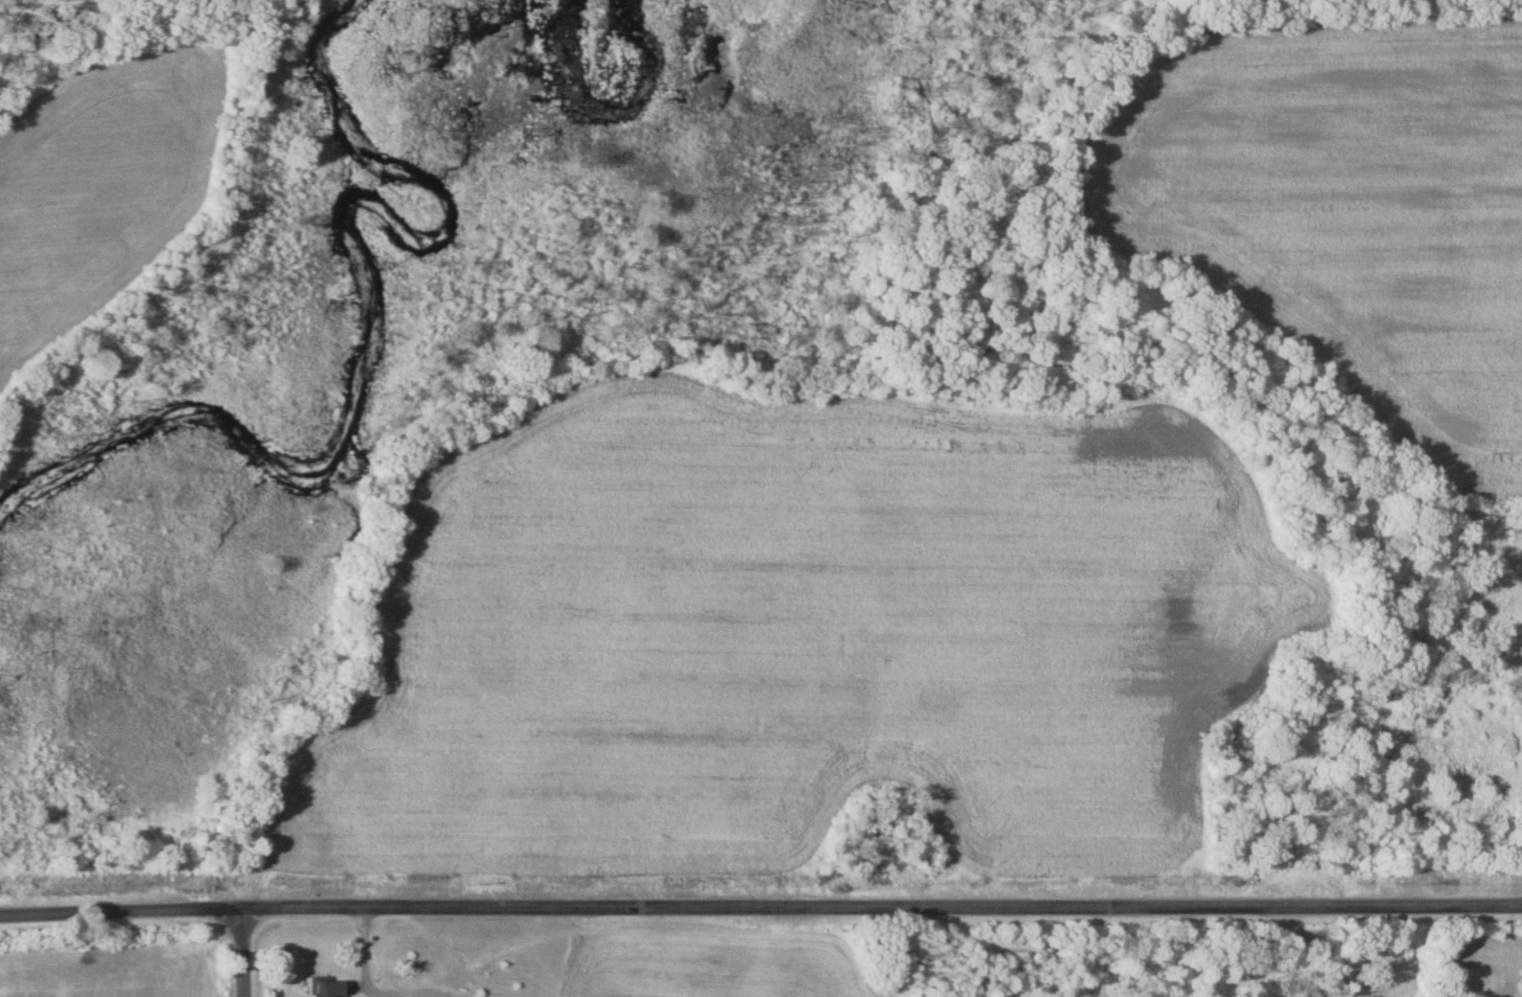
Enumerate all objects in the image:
river: (381, 305)
road: (760, 908)
road: (1317, 949)
road: (245, 952)
road: (368, 968)
building: (325, 987)

